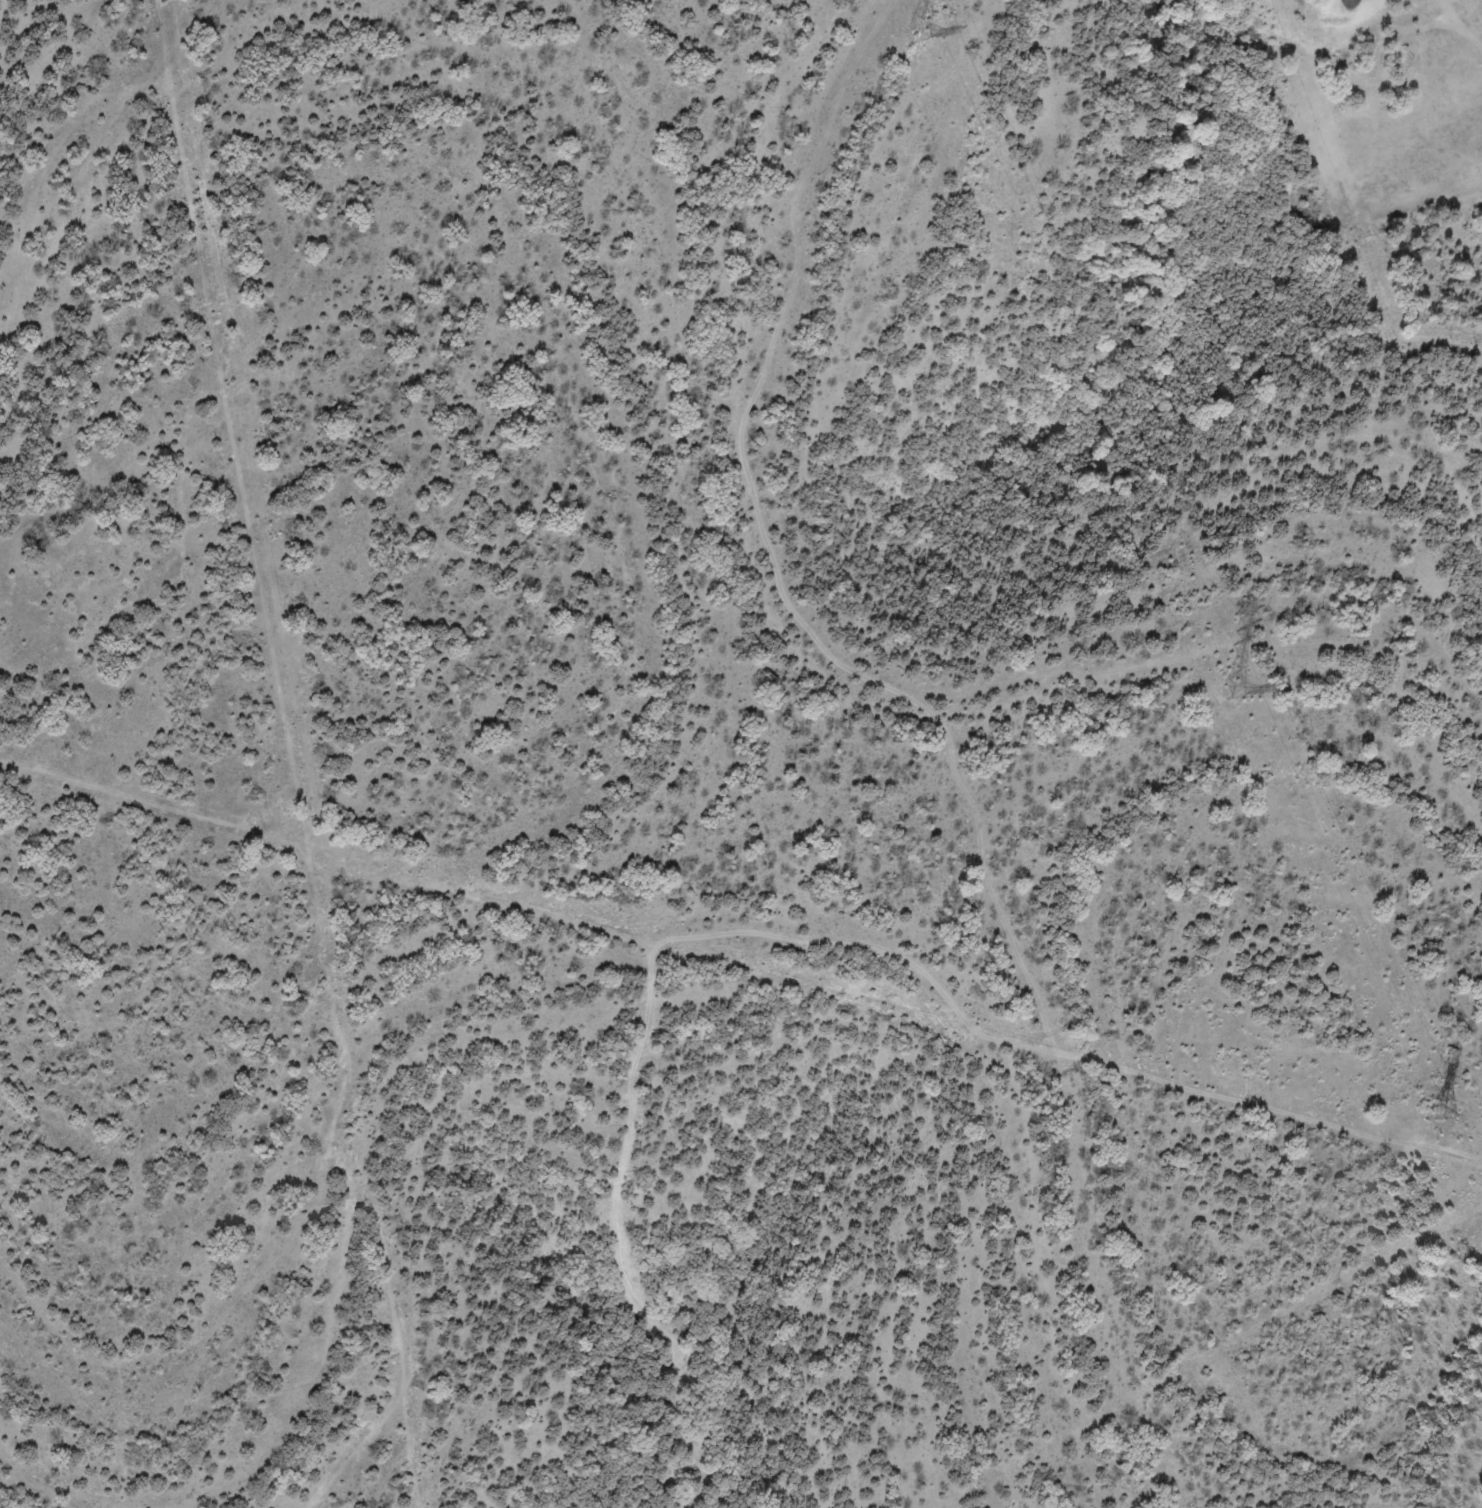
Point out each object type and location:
power tower: (913, 30)
power tower: (1231, 684)
power tower: (1442, 1117)

